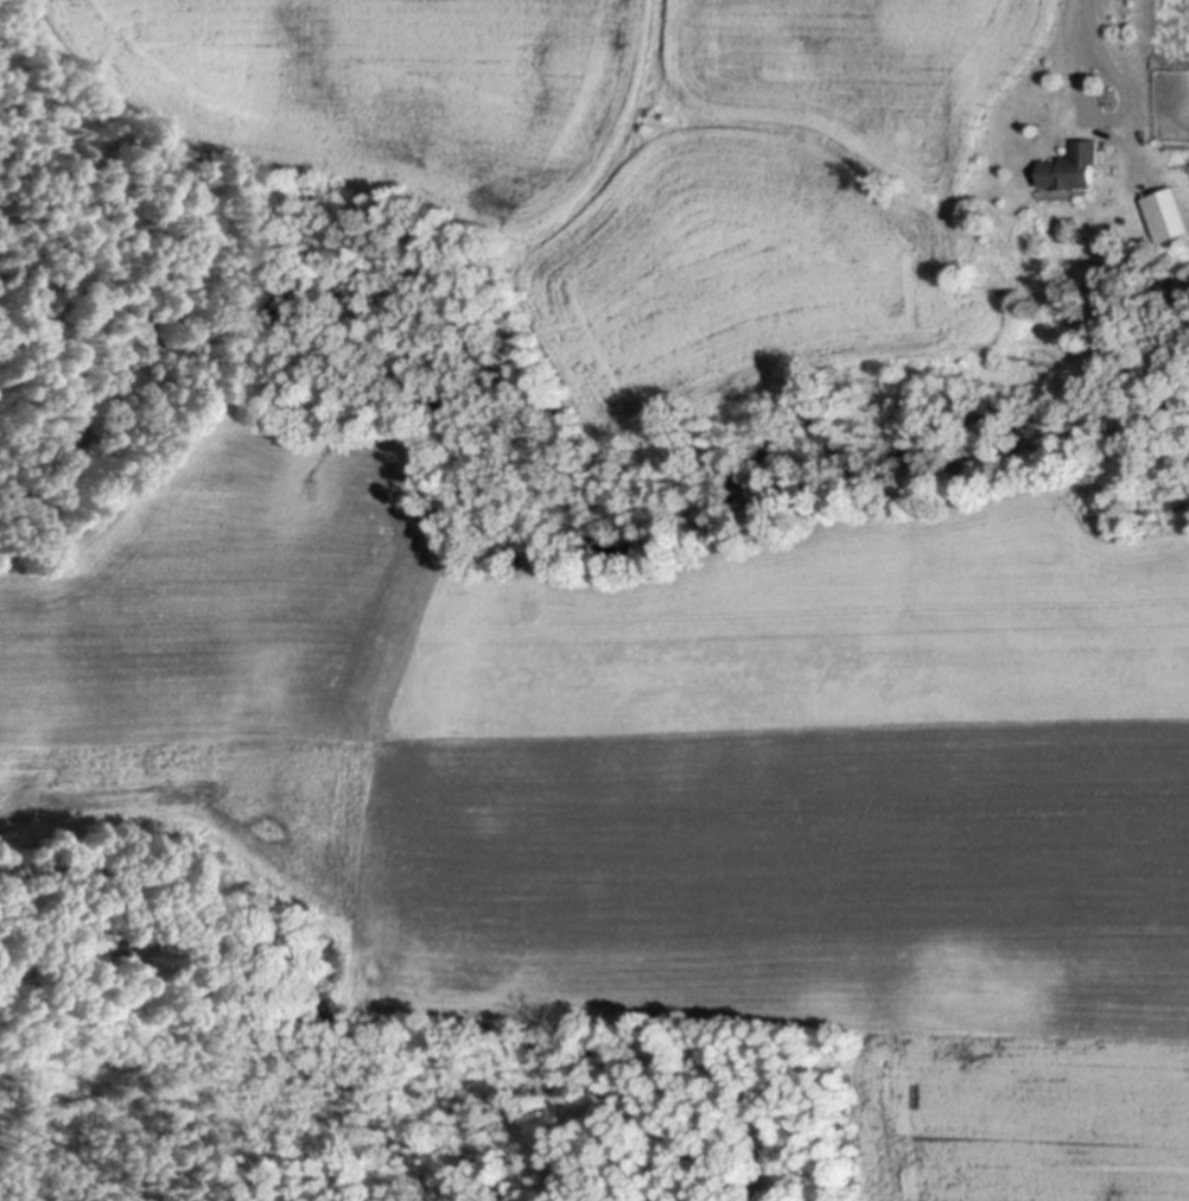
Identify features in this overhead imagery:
building: (1075, 165)
building: (1168, 211)

